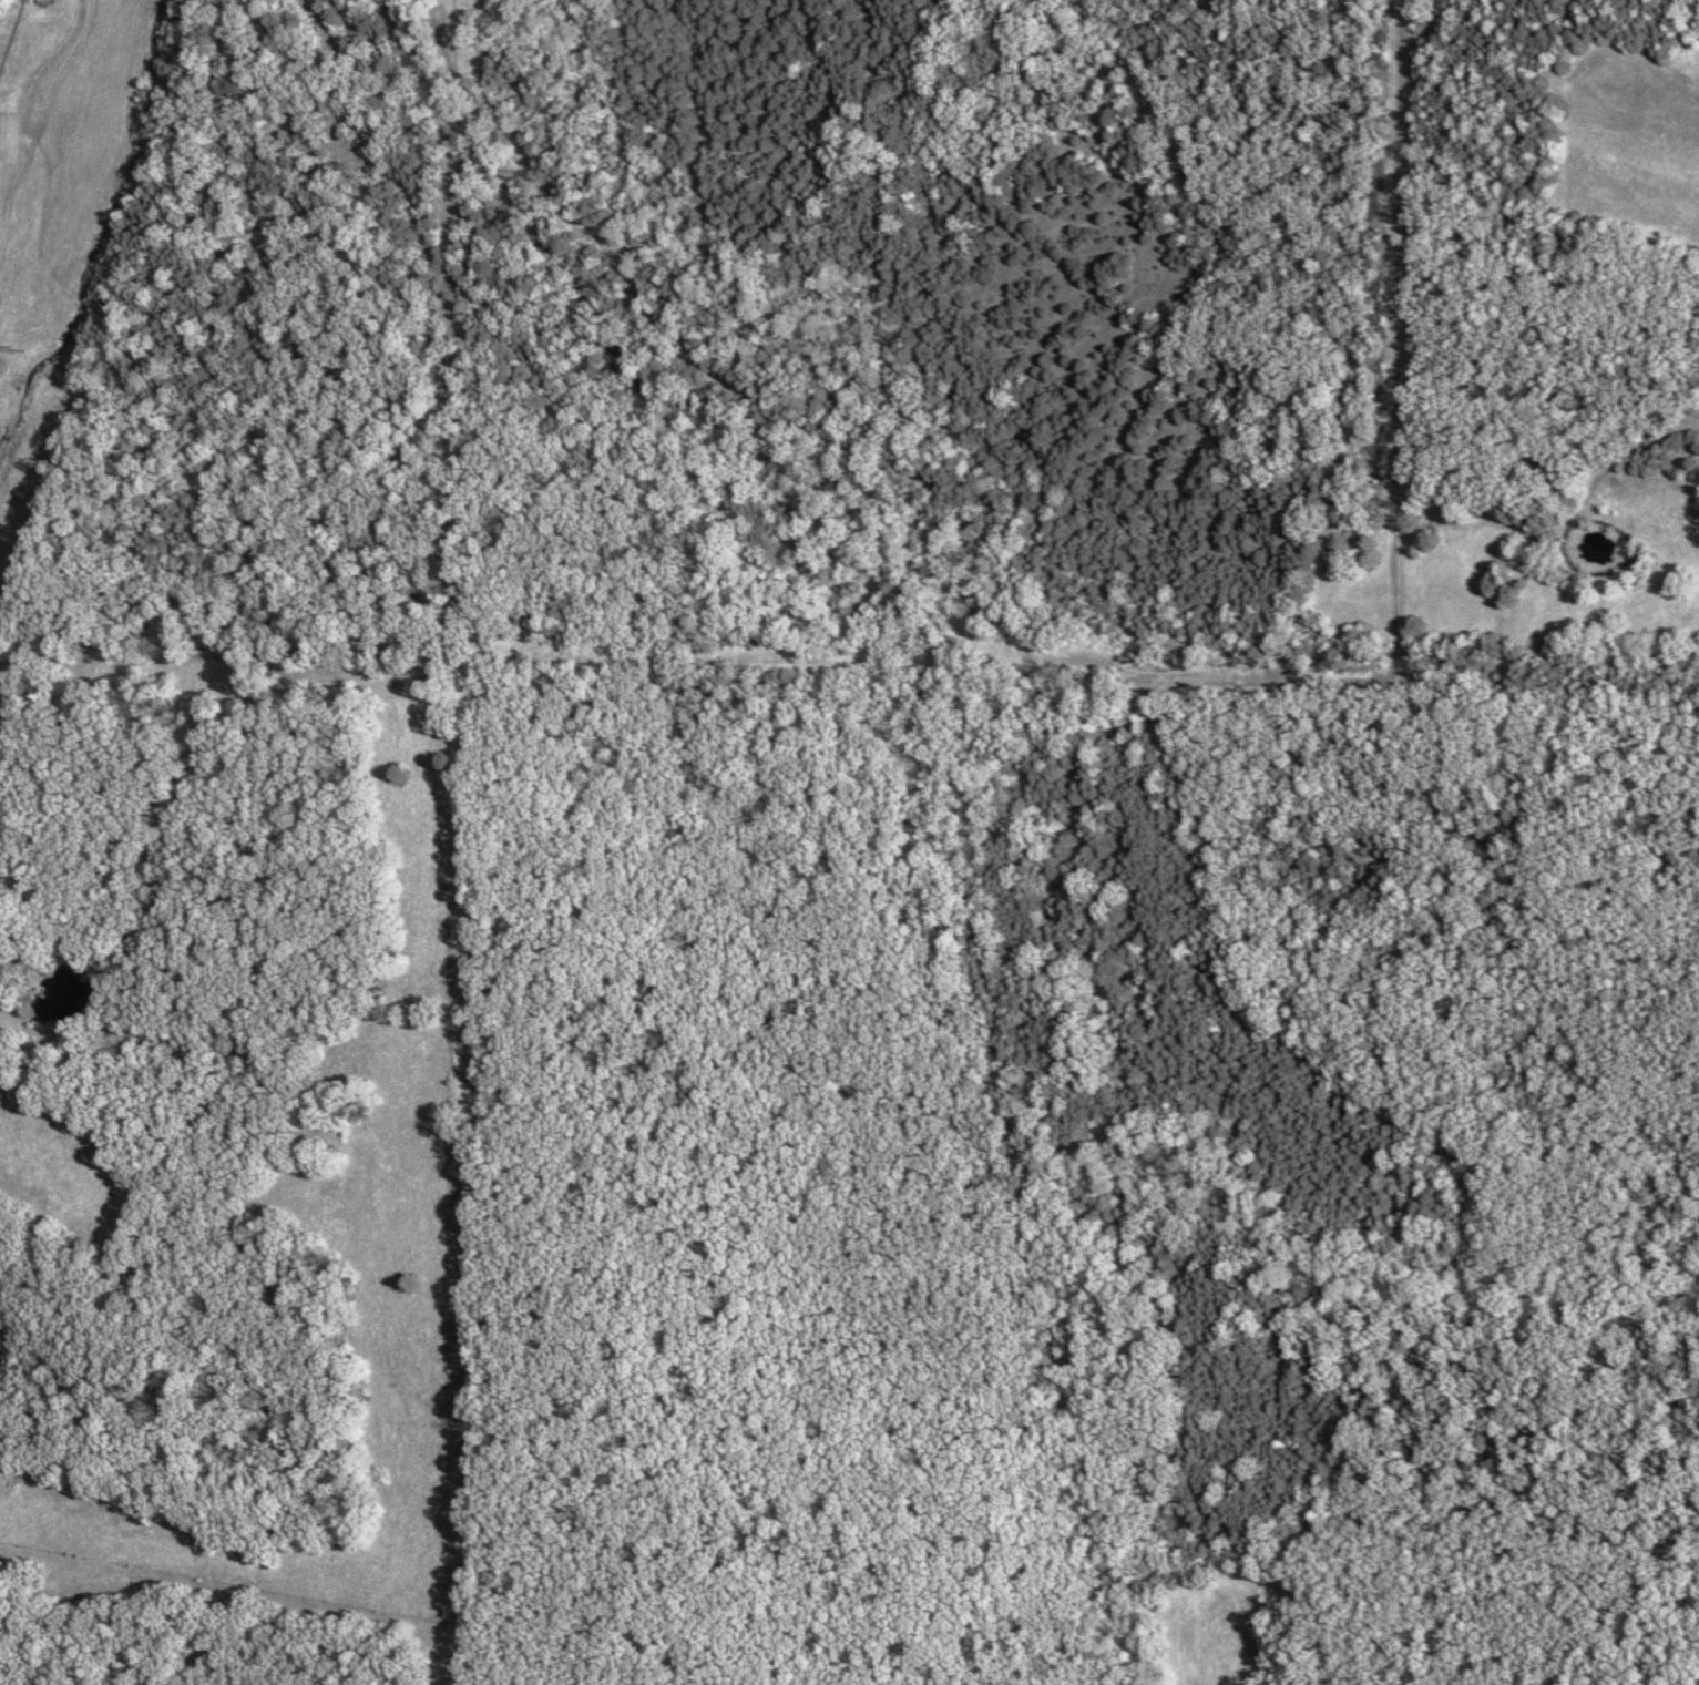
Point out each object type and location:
power tower: (9, 347)

